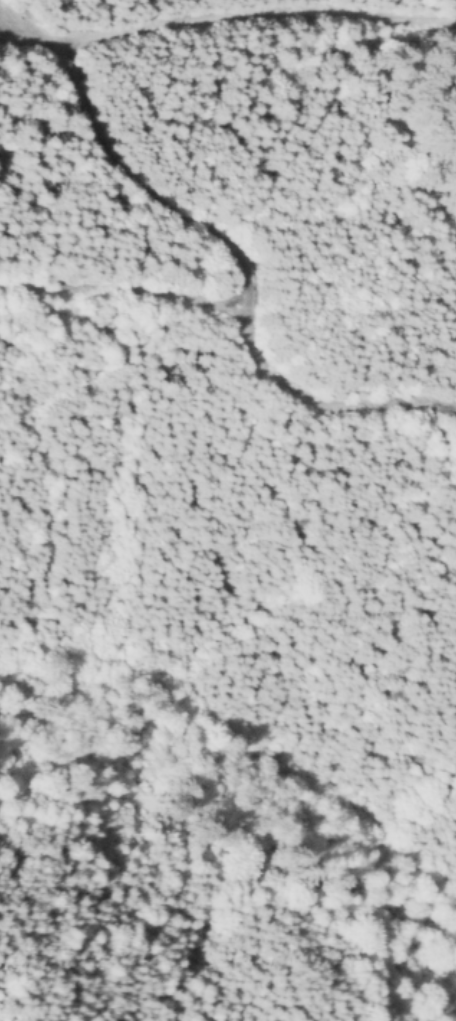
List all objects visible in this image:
road: (232, 17)
road: (12, 26)
road: (241, 276)
road: (121, 290)
road: (117, 366)

